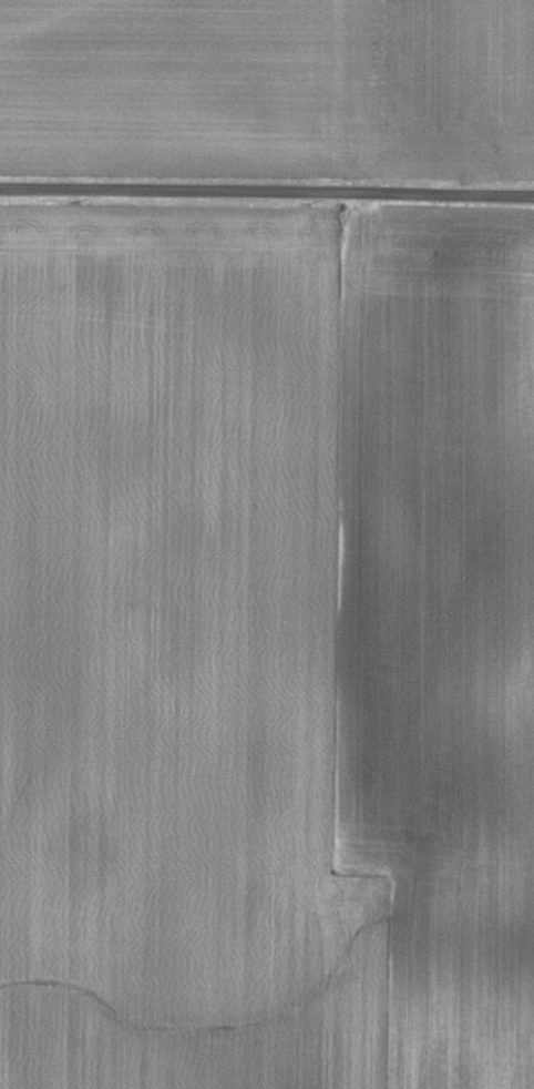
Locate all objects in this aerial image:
road: (267, 193)

